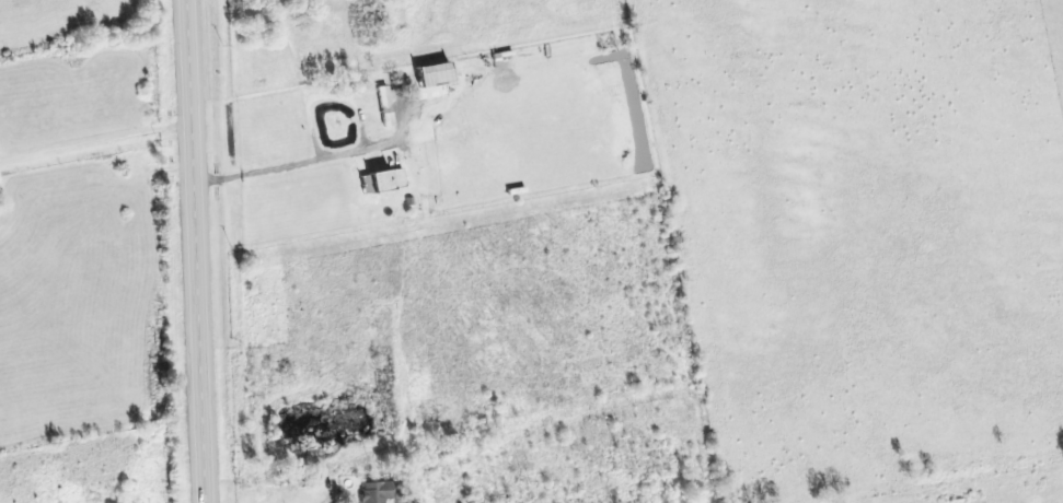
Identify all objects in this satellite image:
building: (438, 72)
building: (386, 106)
road: (93, 149)
building: (388, 182)
road: (192, 250)
building: (378, 492)

